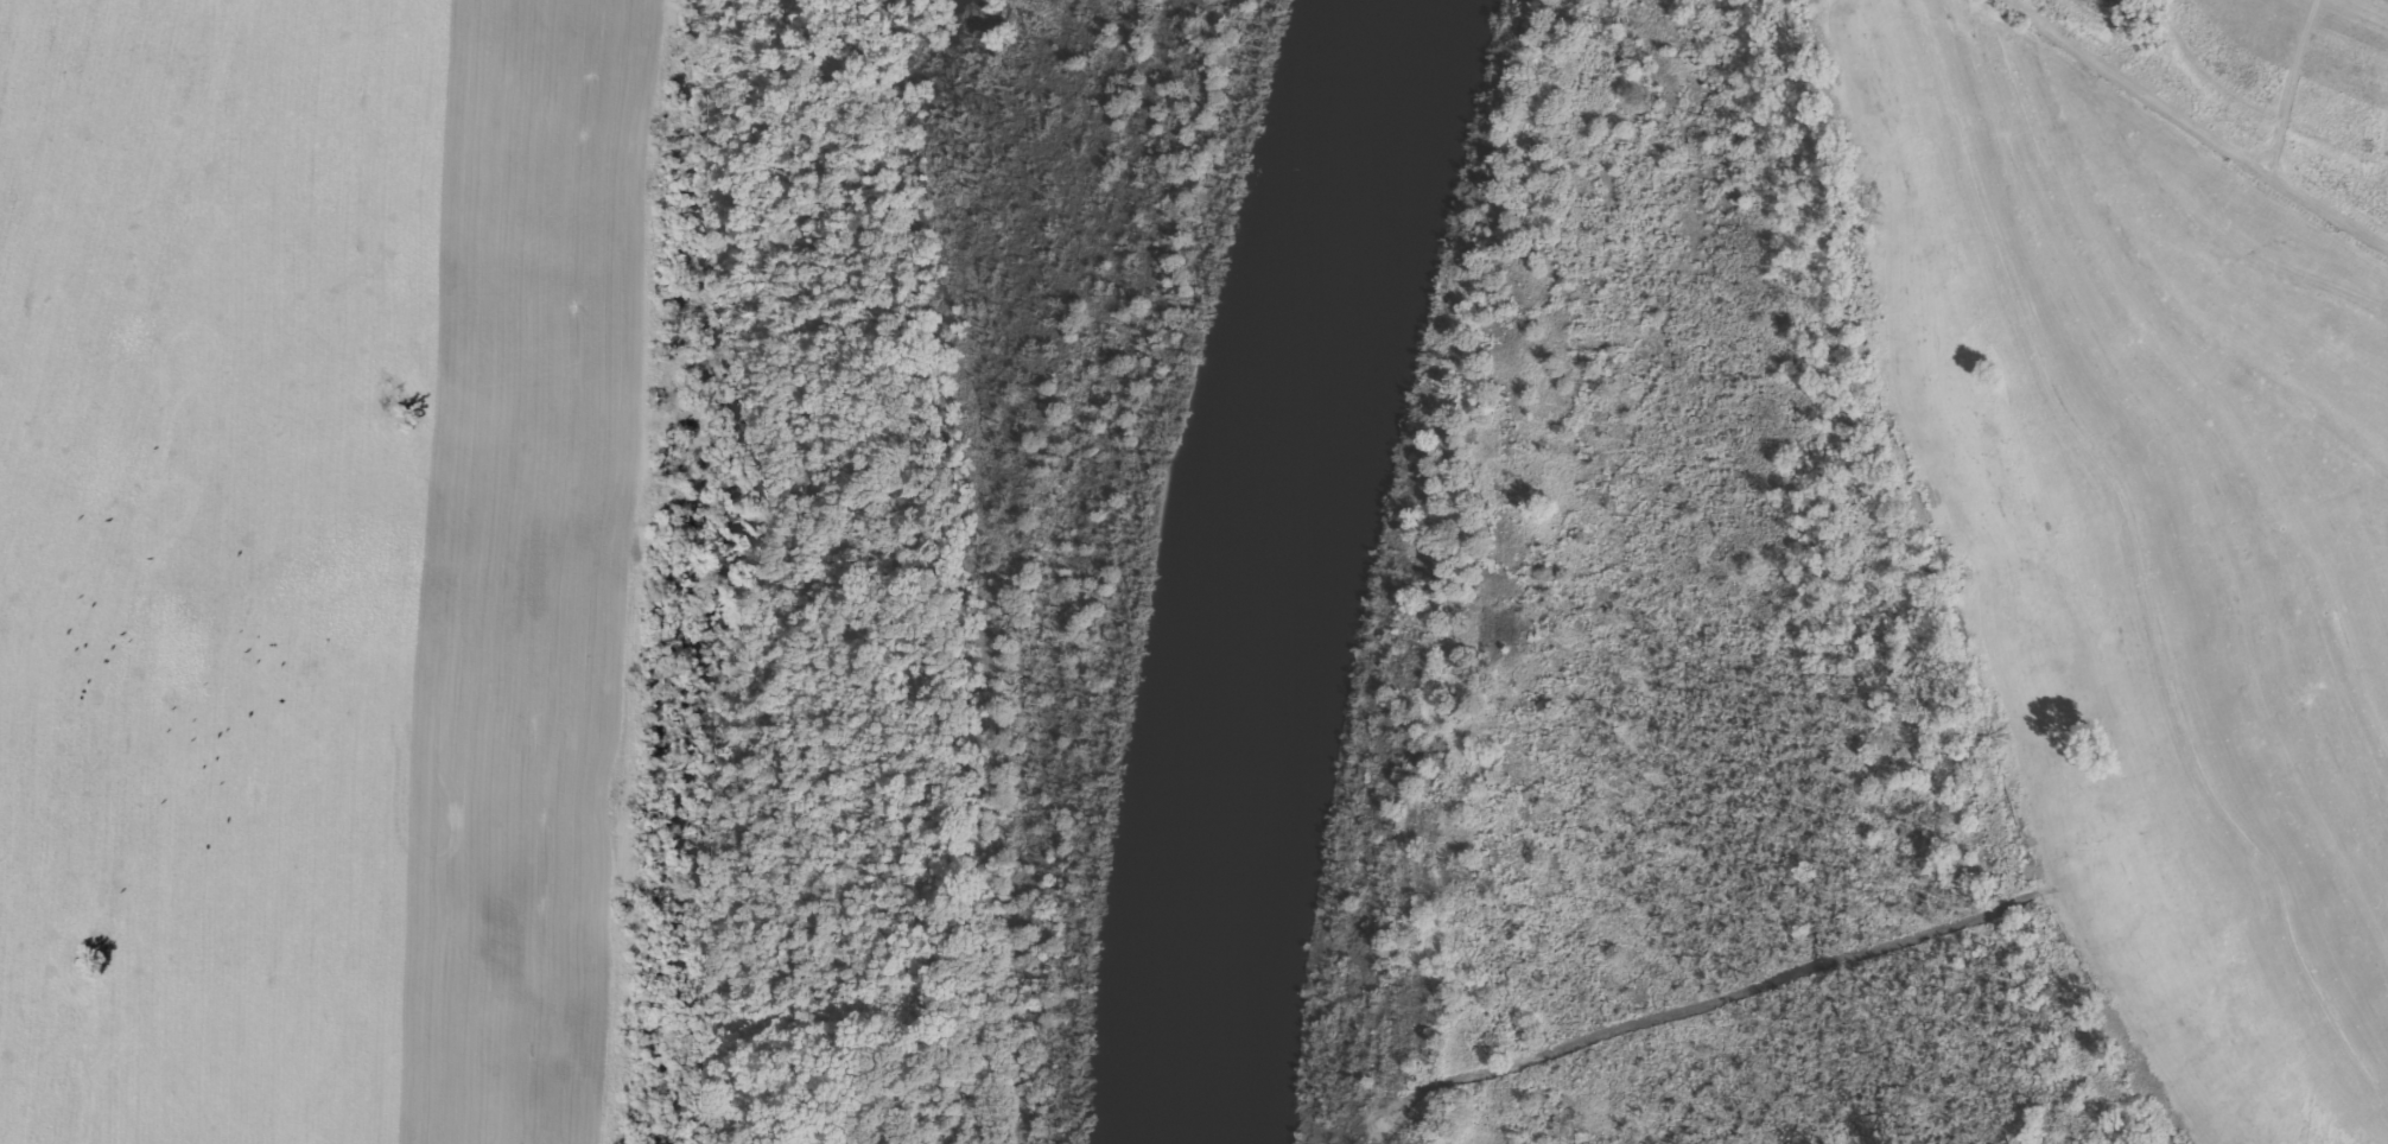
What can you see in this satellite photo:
river: (1275, 568)

